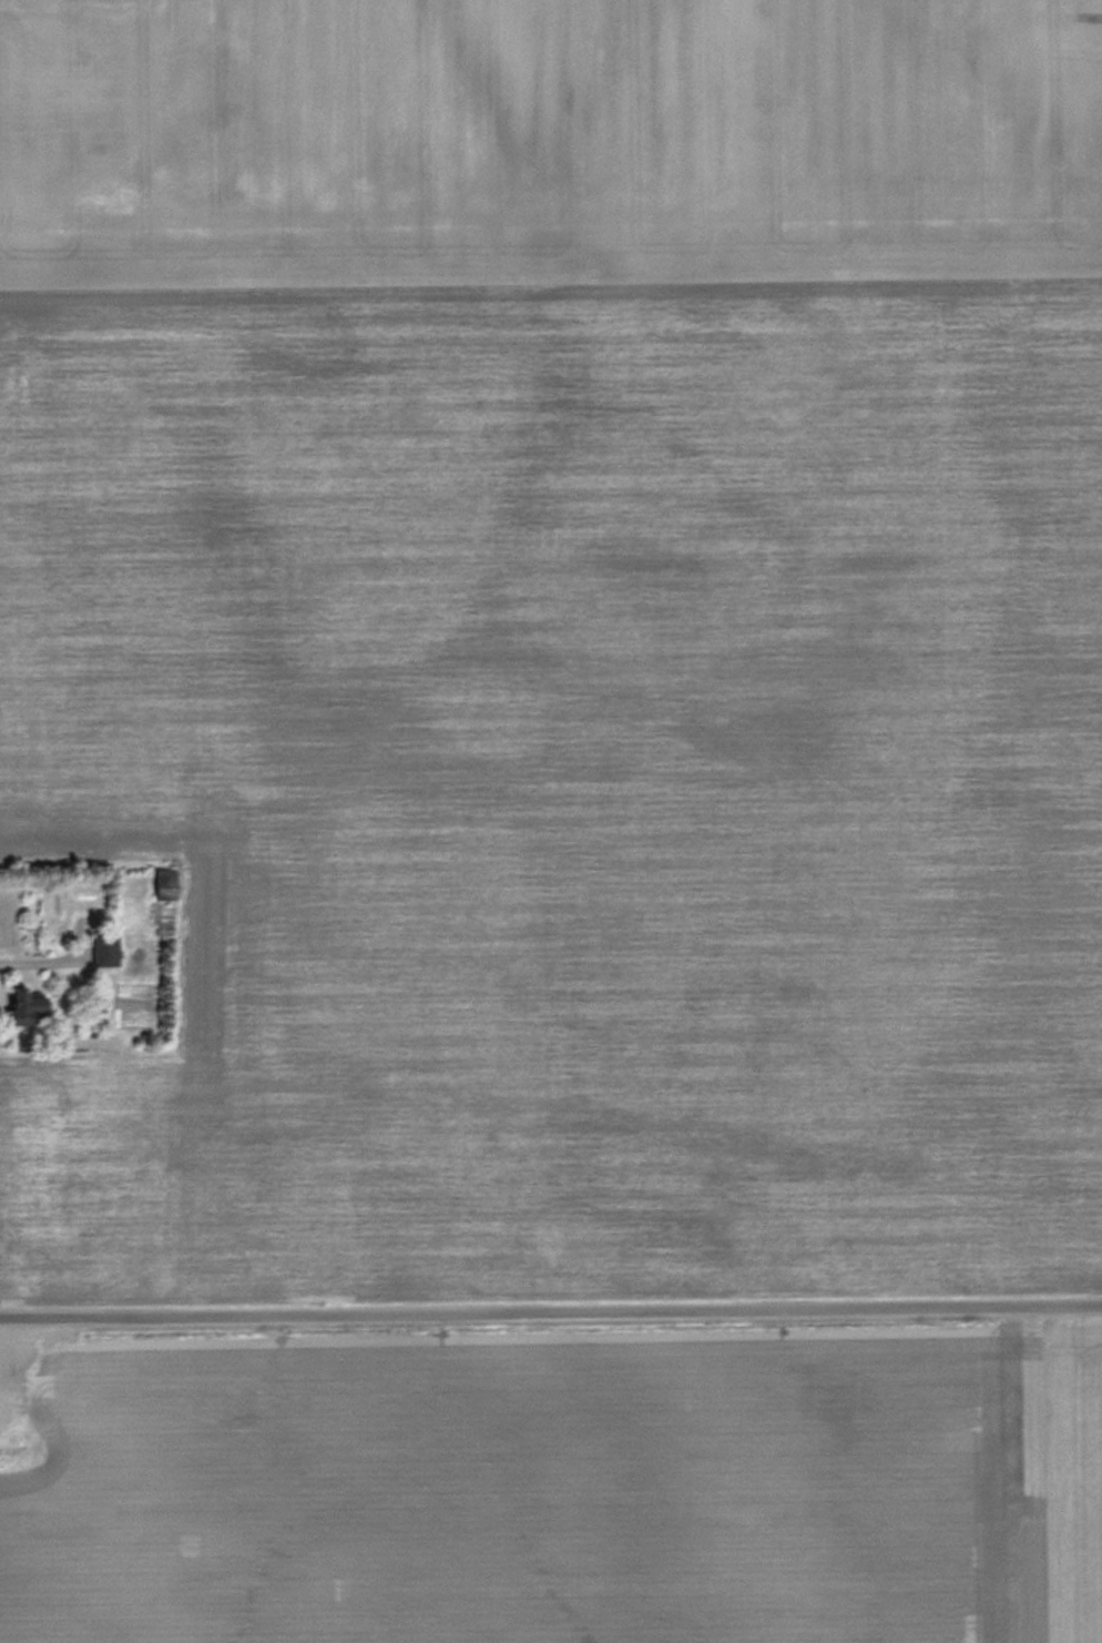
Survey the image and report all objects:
building: (167, 882)
building: (106, 947)
building: (29, 1006)
road: (550, 1317)

